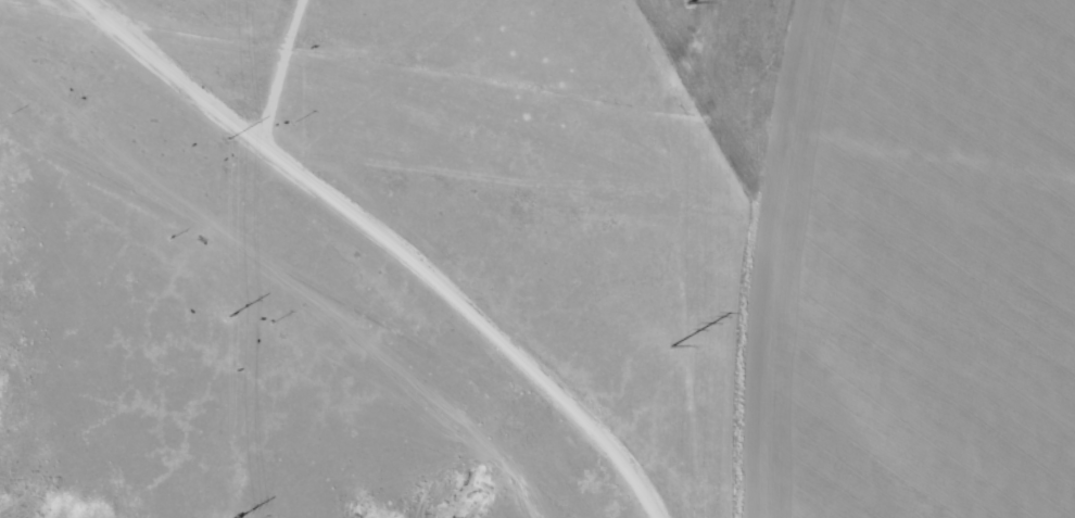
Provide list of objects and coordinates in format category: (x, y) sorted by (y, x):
power tower: (691, 2)
power tower: (228, 143)
power tower: (225, 321)
power tower: (672, 348)

